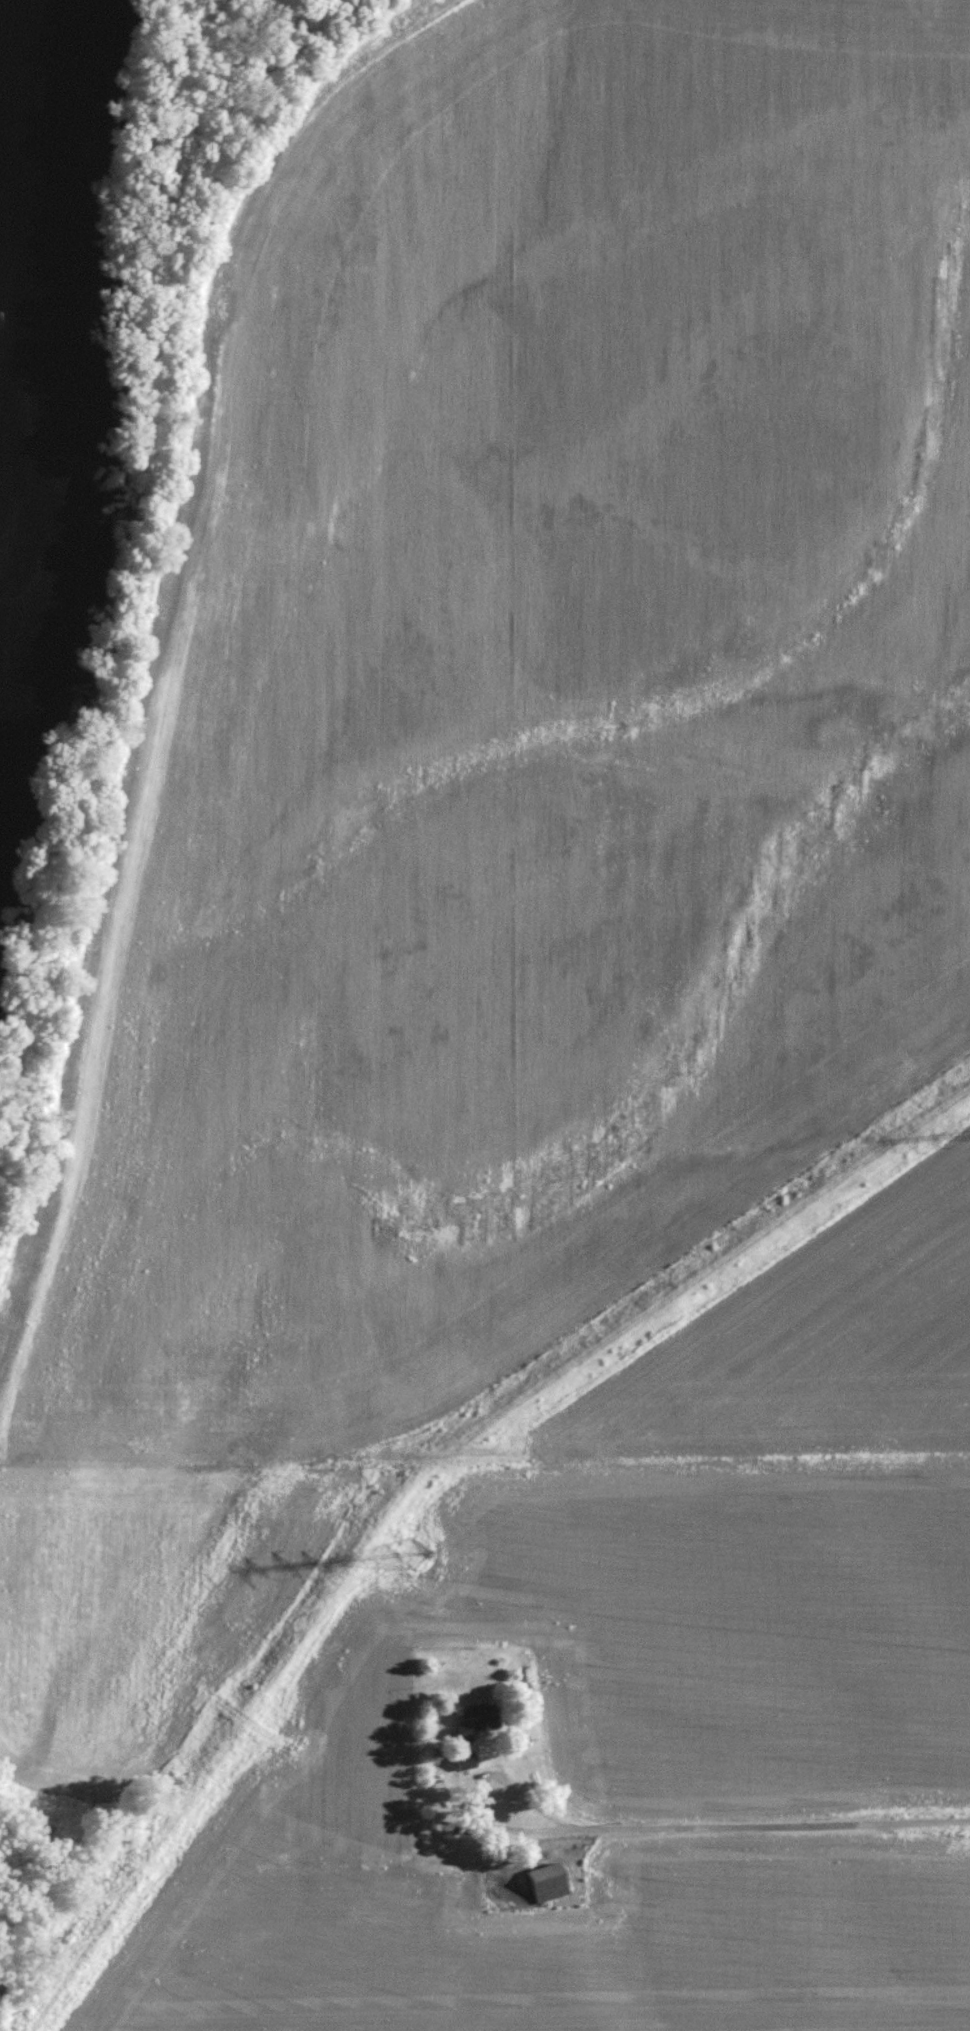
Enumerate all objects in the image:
river: (33, 291)
power tower: (415, 1553)
building: (468, 1719)
building: (464, 1757)
road: (471, 1785)
road: (774, 1826)
building: (543, 1880)

